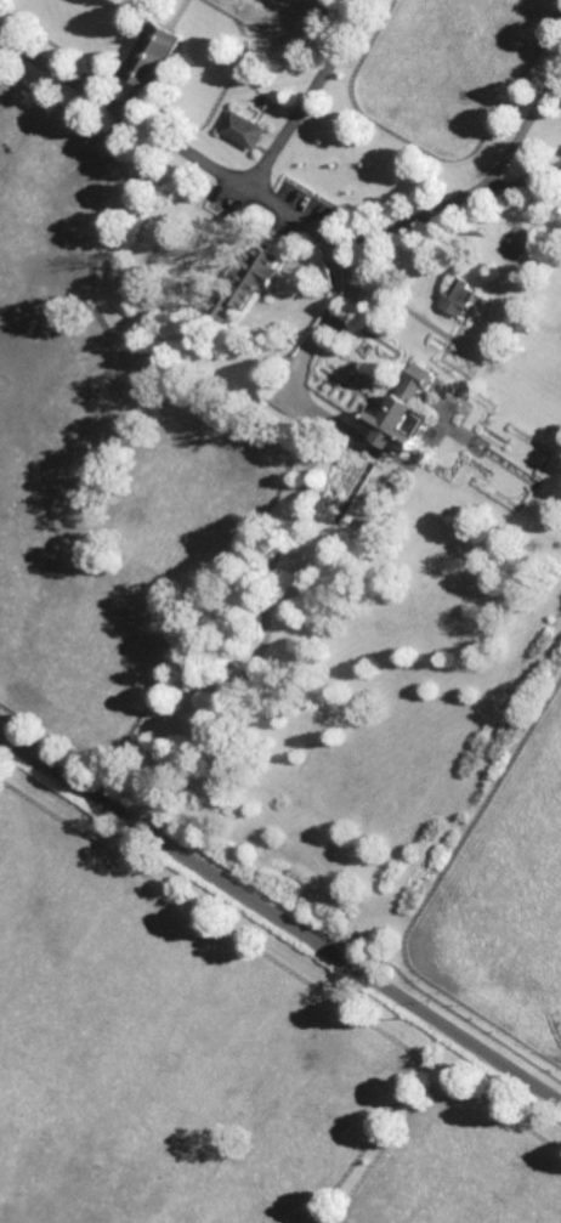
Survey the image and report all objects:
building: (155, 53)
road: (313, 95)
building: (244, 129)
road: (521, 131)
road: (521, 180)
road: (406, 222)
building: (246, 279)
building: (458, 296)
road: (300, 359)
building: (403, 415)
road: (279, 913)

